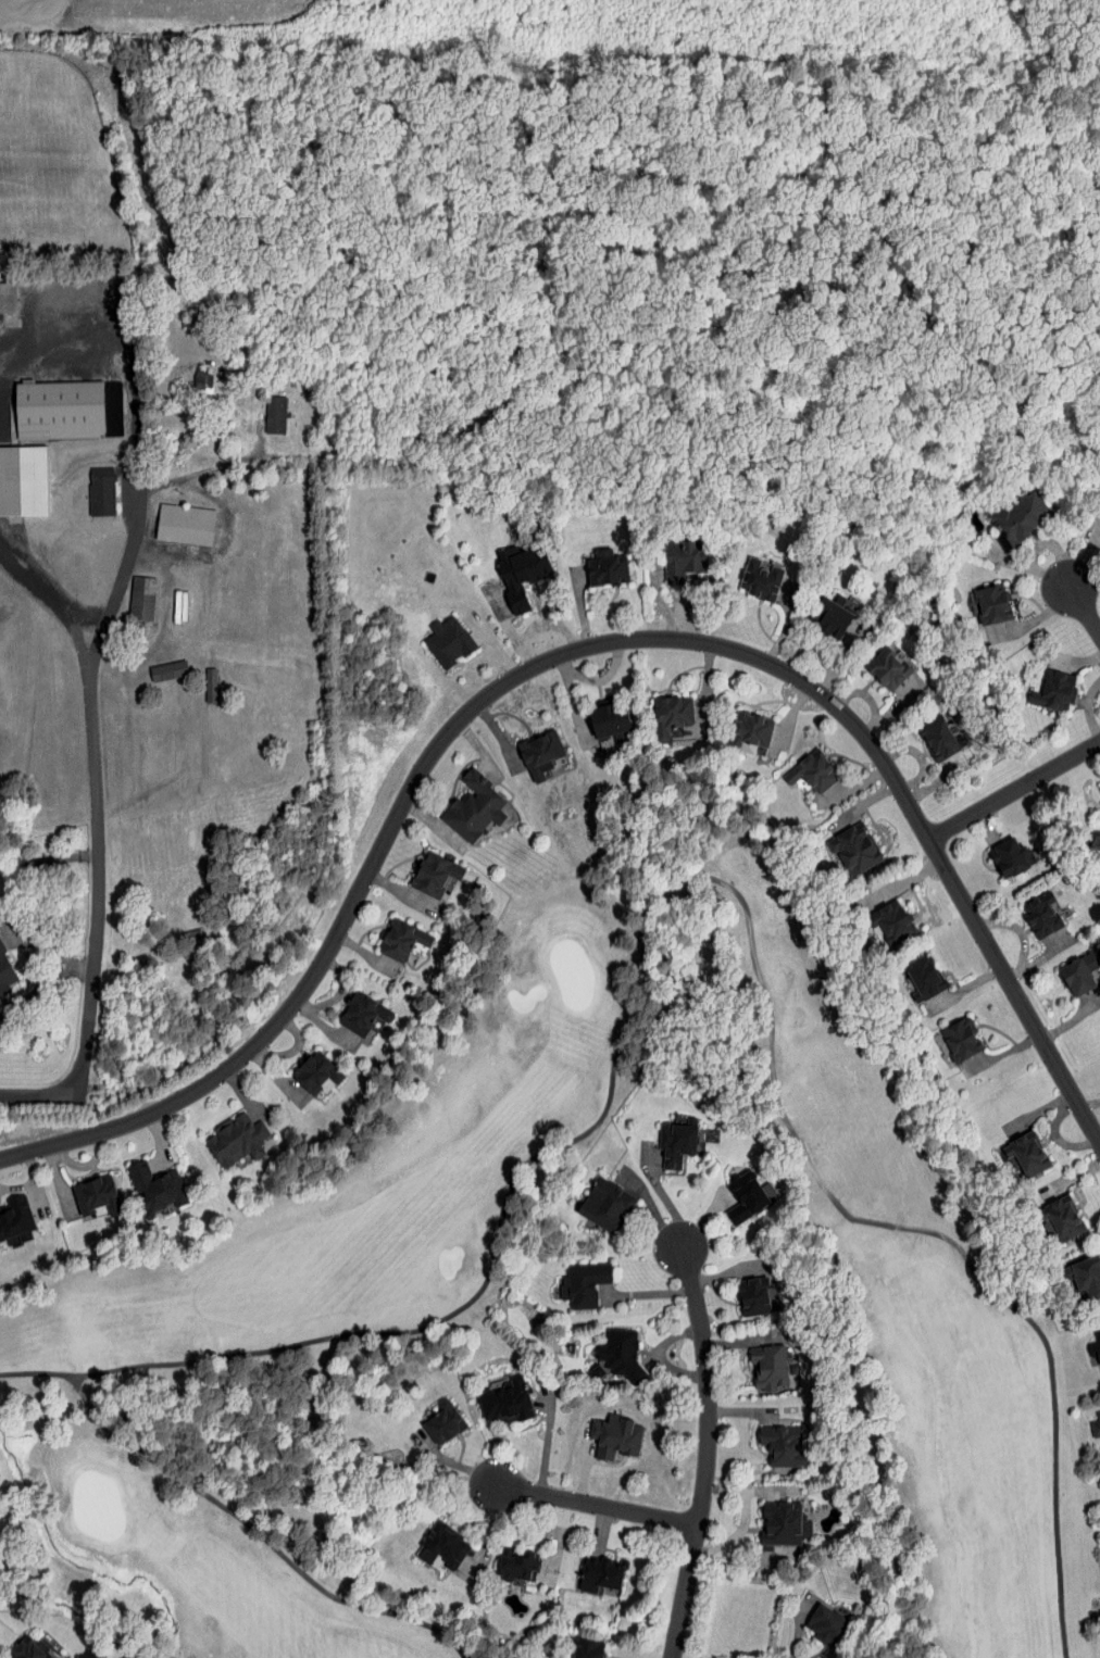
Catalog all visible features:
road: (71, 336)
building: (43, 403)
building: (262, 407)
road: (216, 467)
building: (17, 474)
building: (87, 486)
building: (1010, 510)
building: (168, 517)
building: (1093, 537)
building: (668, 553)
building: (590, 564)
road: (149, 568)
building: (501, 569)
building: (745, 574)
building: (127, 592)
road: (48, 594)
building: (975, 598)
road: (1087, 603)
building: (816, 612)
road: (632, 630)
building: (433, 635)
building: (874, 663)
building: (1037, 684)
building: (653, 708)
building: (587, 716)
building: (733, 725)
building: (918, 733)
building: (523, 748)
building: (795, 766)
road: (1015, 782)
building: (1092, 786)
building: (455, 801)
road: (934, 834)
building: (838, 842)
building: (992, 851)
building: (415, 868)
road: (2, 906)
building: (1025, 909)
building: (872, 915)
building: (385, 933)
road: (334, 944)
building: (1, 971)
building: (907, 971)
building: (1059, 972)
road: (36, 989)
building: (343, 1006)
building: (943, 1033)
building: (297, 1066)
building: (221, 1134)
building: (658, 1139)
building: (1010, 1147)
building: (136, 1182)
building: (76, 1188)
building: (727, 1192)
road: (663, 1195)
building: (588, 1197)
park: (374, 1204)
road: (652, 1208)
building: (7, 1211)
building: (1046, 1213)
road: (704, 1218)
road: (727, 1272)
building: (1074, 1273)
building: (577, 1280)
building: (755, 1292)
road: (648, 1293)
road: (740, 1341)
building: (1095, 1345)
building: (618, 1353)
road: (657, 1357)
building: (771, 1366)
road: (704, 1385)
building: (505, 1400)
road: (741, 1411)
building: (443, 1422)
building: (1096, 1427)
building: (620, 1435)
road: (547, 1439)
building: (782, 1445)
road: (452, 1465)
road: (590, 1474)
road: (648, 1479)
road: (748, 1492)
road: (595, 1504)
building: (782, 1523)
road: (600, 1529)
road: (740, 1529)
road: (517, 1532)
road: (489, 1537)
road: (559, 1542)
building: (442, 1545)
road: (734, 1556)
building: (517, 1562)
building: (599, 1574)
road: (684, 1590)
building: (827, 1623)
road: (799, 1624)
building: (582, 1648)
building: (33, 1649)

